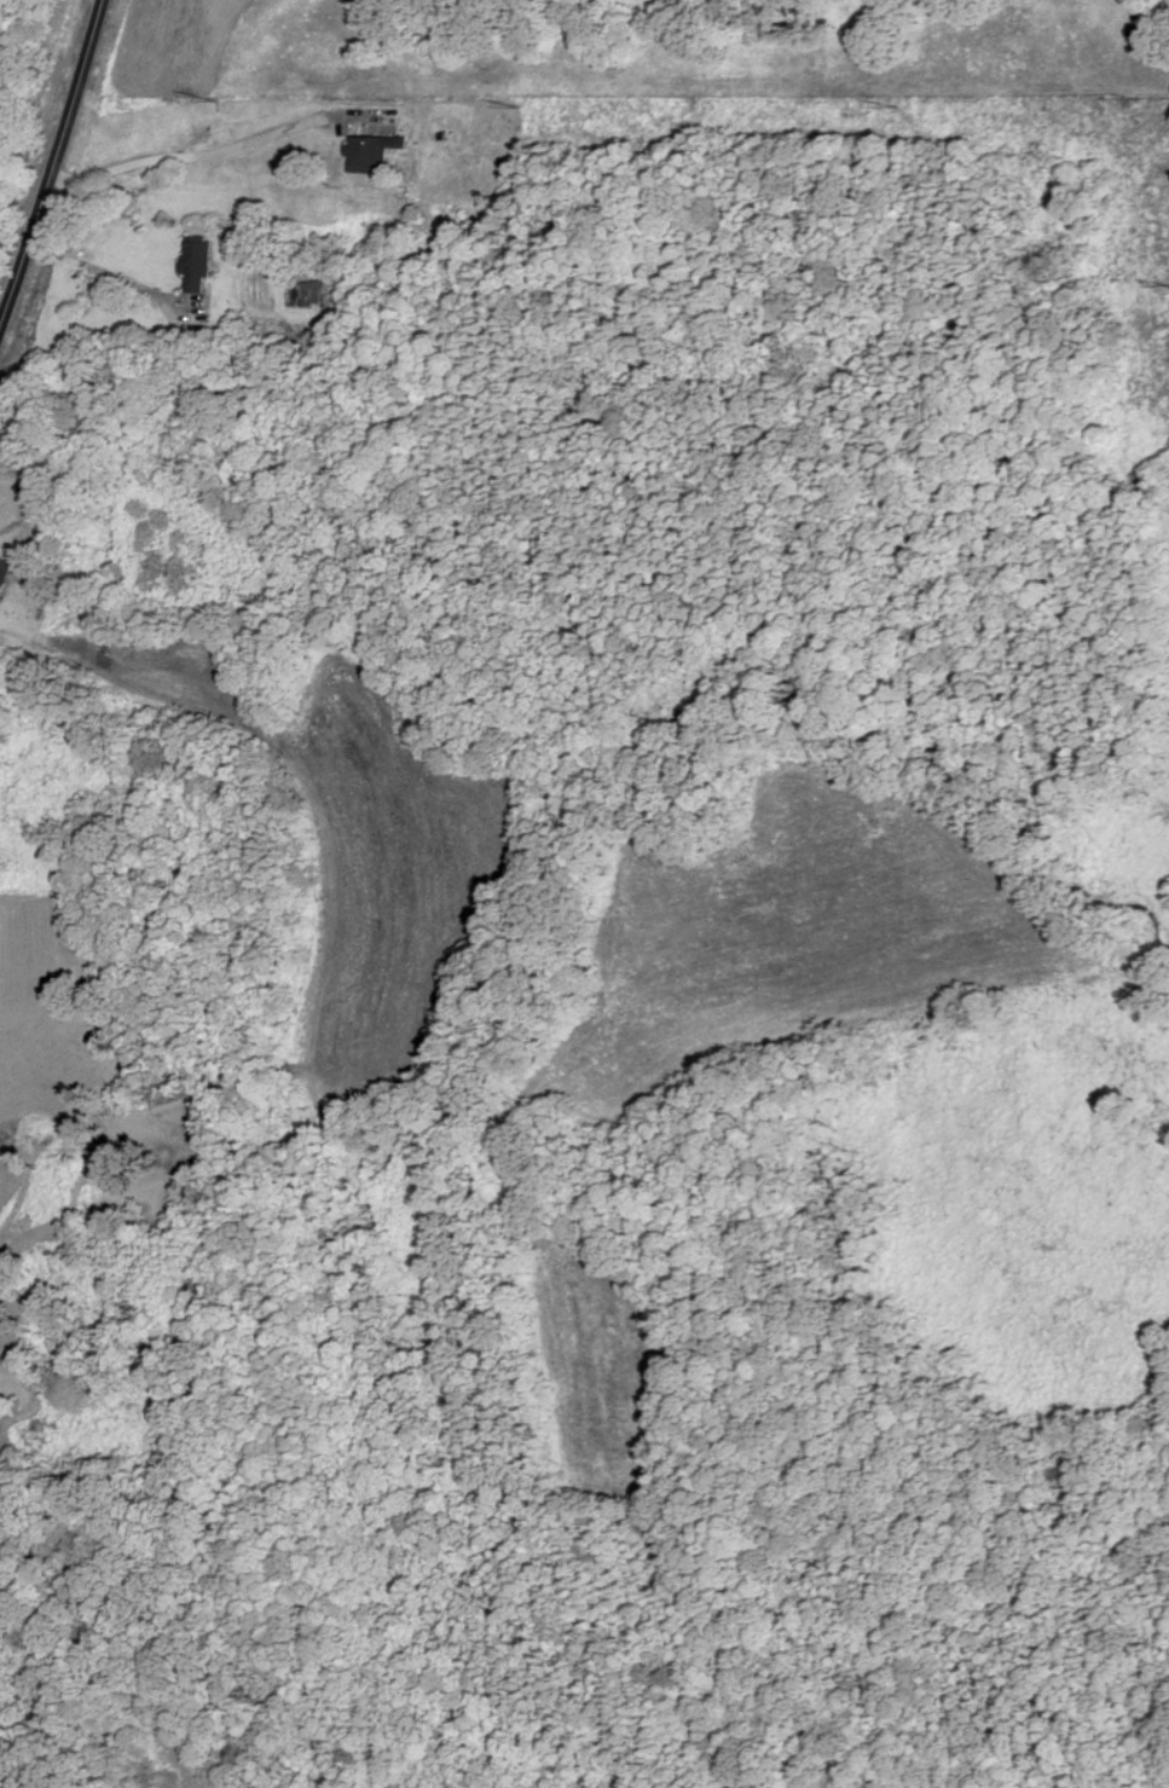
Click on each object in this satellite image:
power tower: (213, 99)
power tower: (1145, 102)
building: (372, 147)
road: (206, 156)
road: (56, 168)
building: (197, 265)
road: (114, 276)
building: (34, 505)
building: (5, 573)

